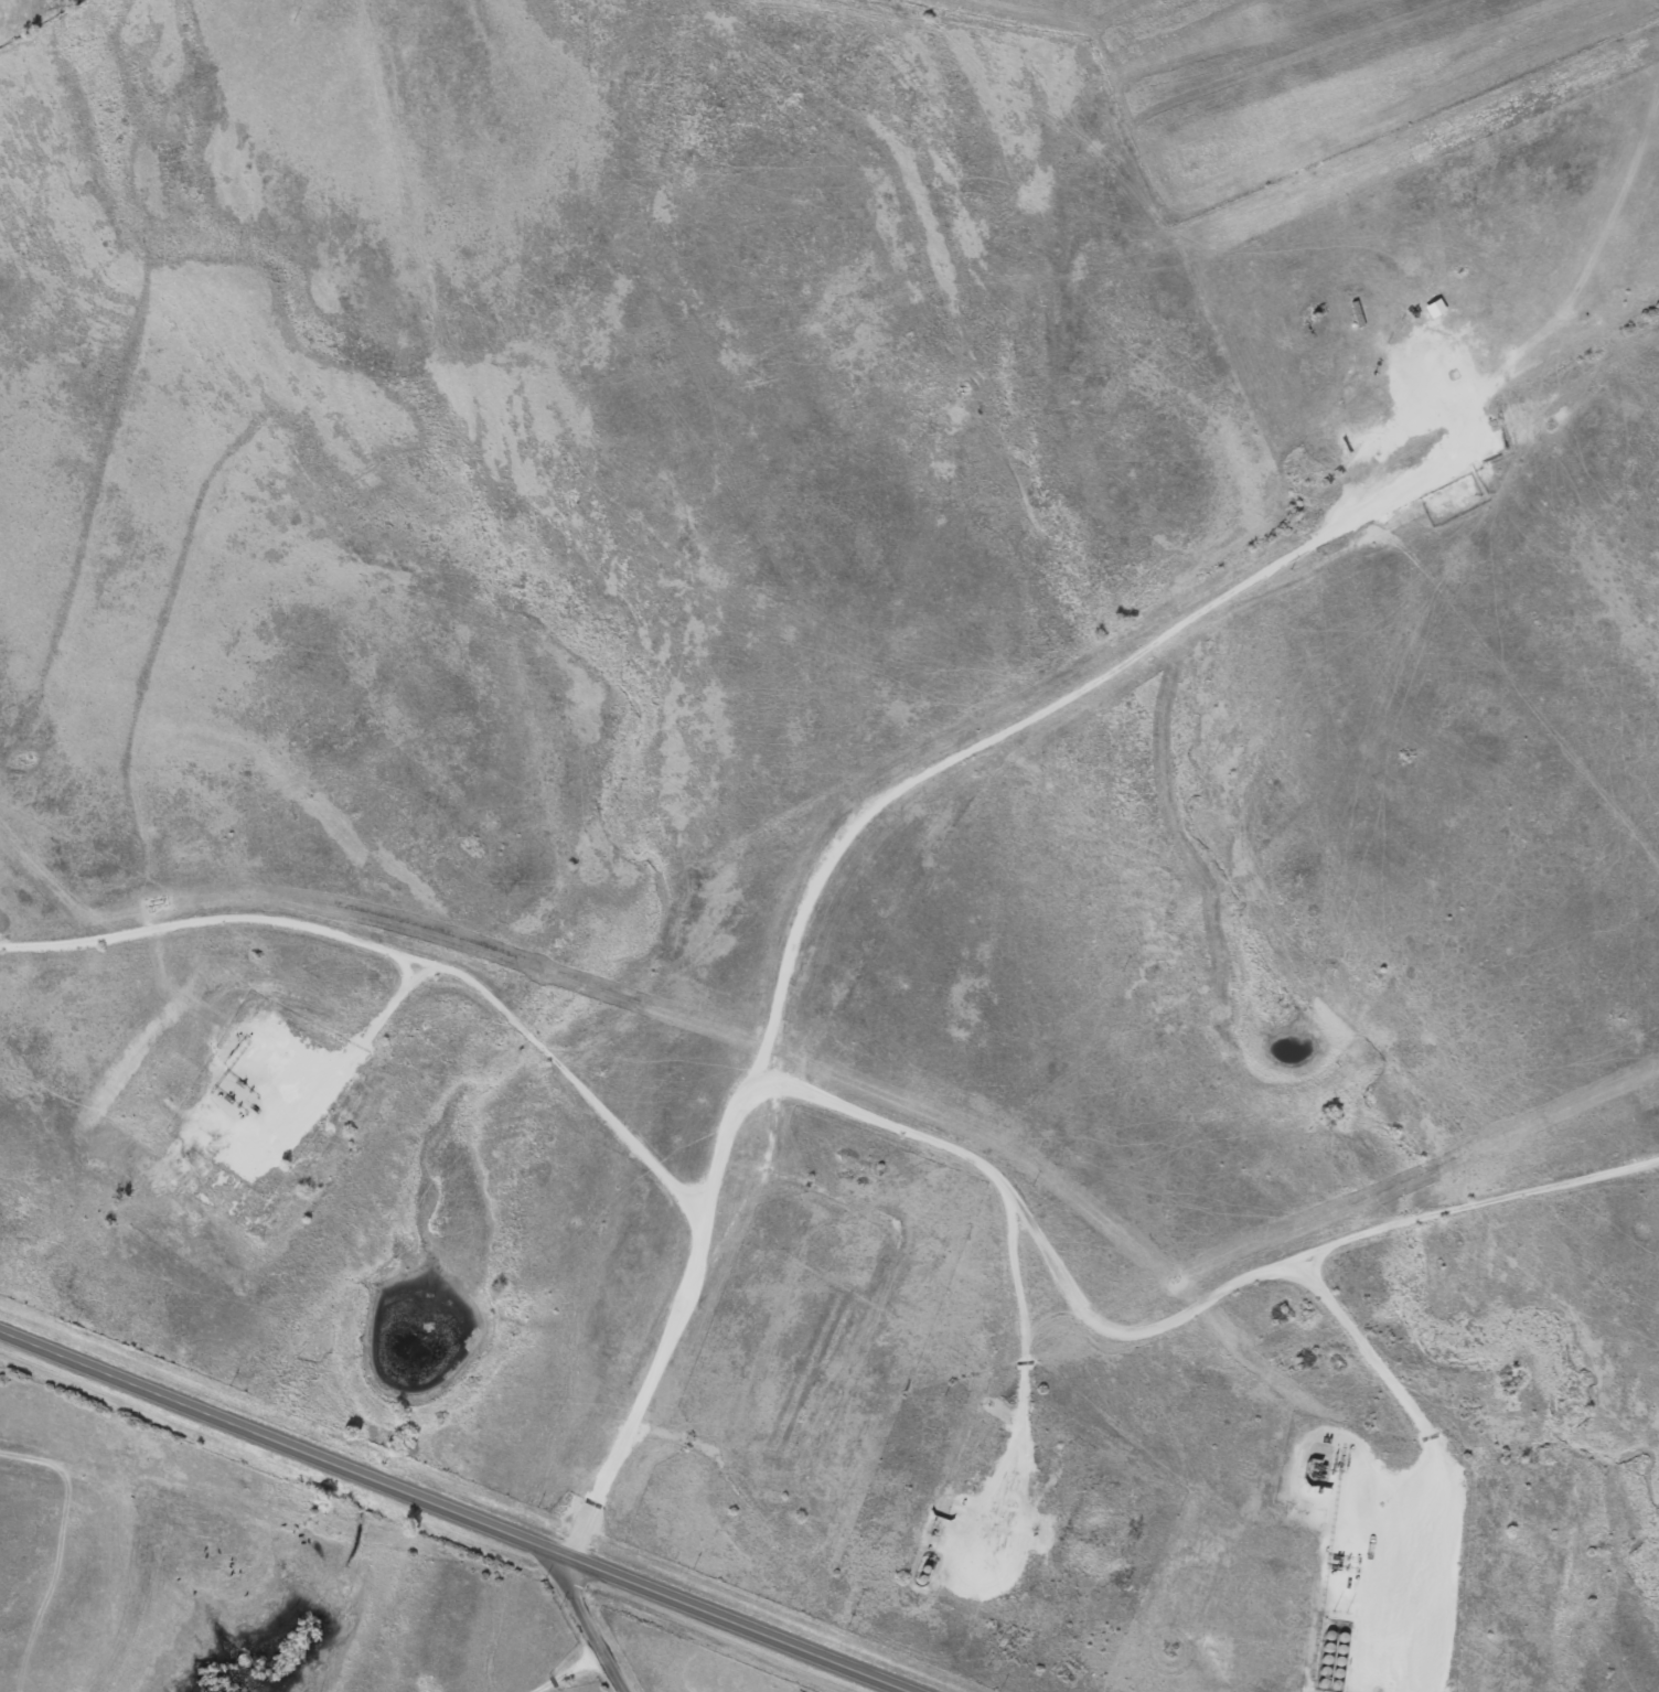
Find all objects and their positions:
road: (828, 856)
road: (400, 954)
road: (1167, 1326)
road: (1020, 1363)
road: (1411, 1407)
road: (448, 1510)
road: (579, 1627)

